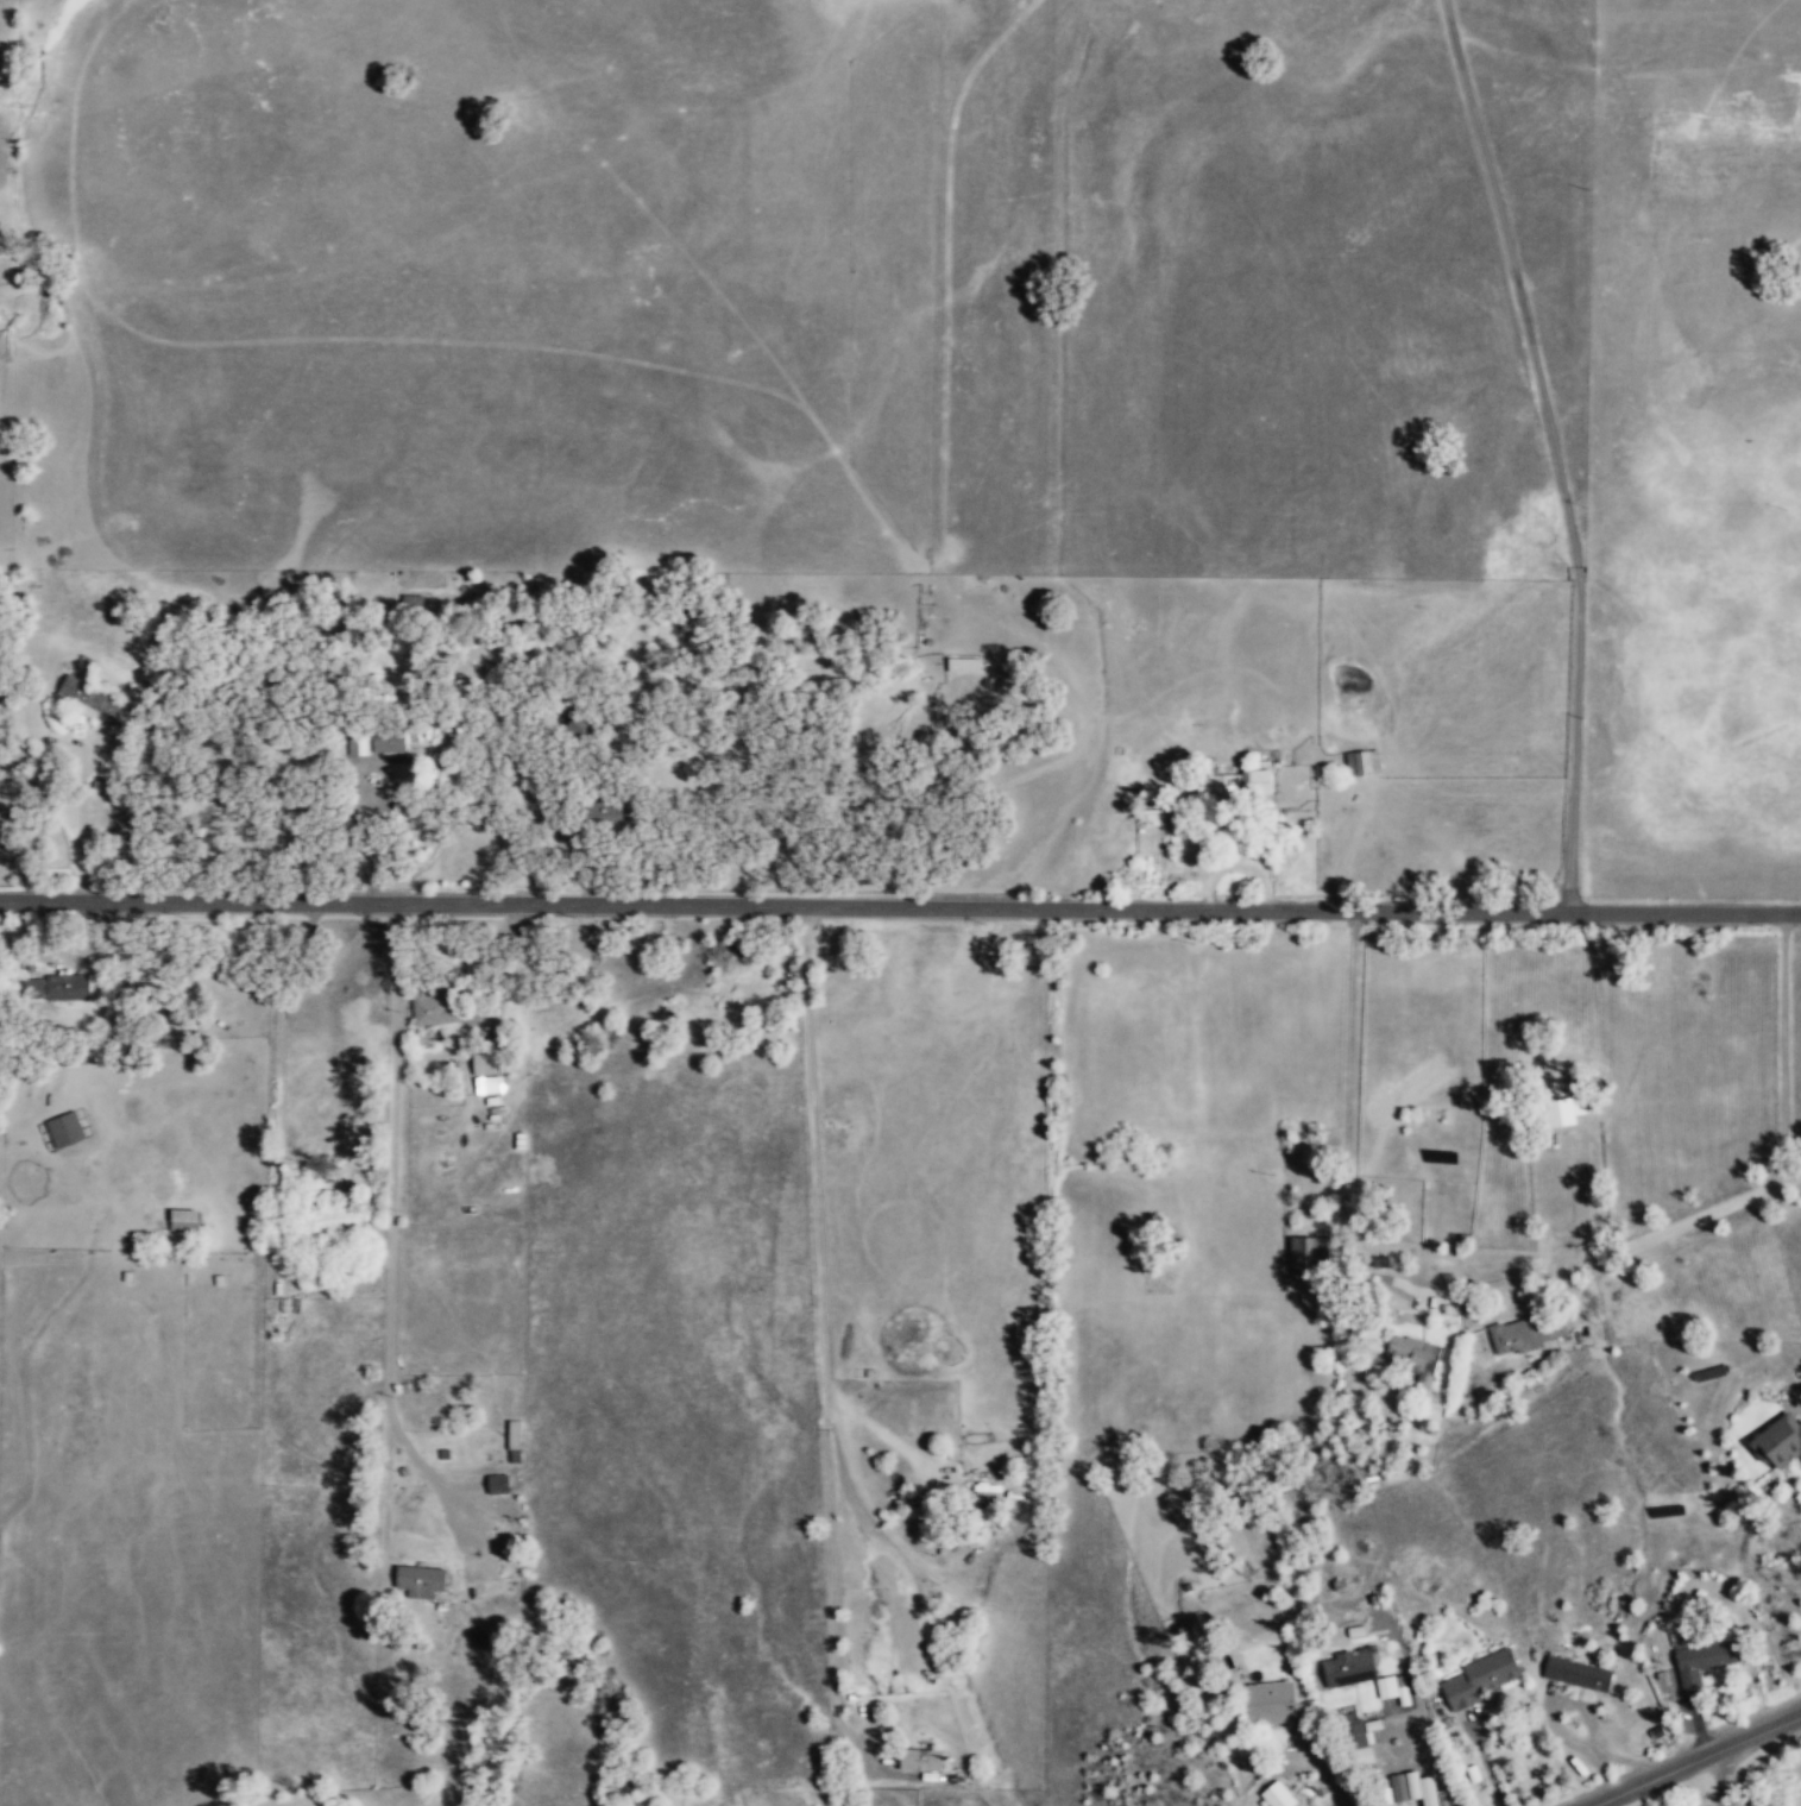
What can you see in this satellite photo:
road: (713, 287)
road: (288, 339)
road: (942, 436)
road: (1551, 451)
road: (920, 578)
building: (961, 666)
building: (87, 700)
building: (386, 744)
building: (357, 745)
building: (1360, 762)
building: (1238, 785)
building: (615, 812)
road: (78, 820)
road: (900, 906)
building: (434, 1013)
building: (486, 1084)
building: (1561, 1112)
building: (62, 1129)
road: (1347, 1134)
building: (336, 1217)
building: (182, 1220)
building: (1306, 1257)
road: (820, 1334)
building: (1522, 1335)
building: (1413, 1358)
building: (1777, 1441)
building: (495, 1485)
building: (417, 1581)
building: (1702, 1660)
building: (1347, 1669)
building: (1575, 1674)
building: (1478, 1679)
building: (1270, 1704)
road: (1424, 1739)
road: (1694, 1758)
building: (919, 1760)
road: (1322, 1768)
road: (1723, 1775)
park: (1794, 1779)
building: (1276, 1795)

